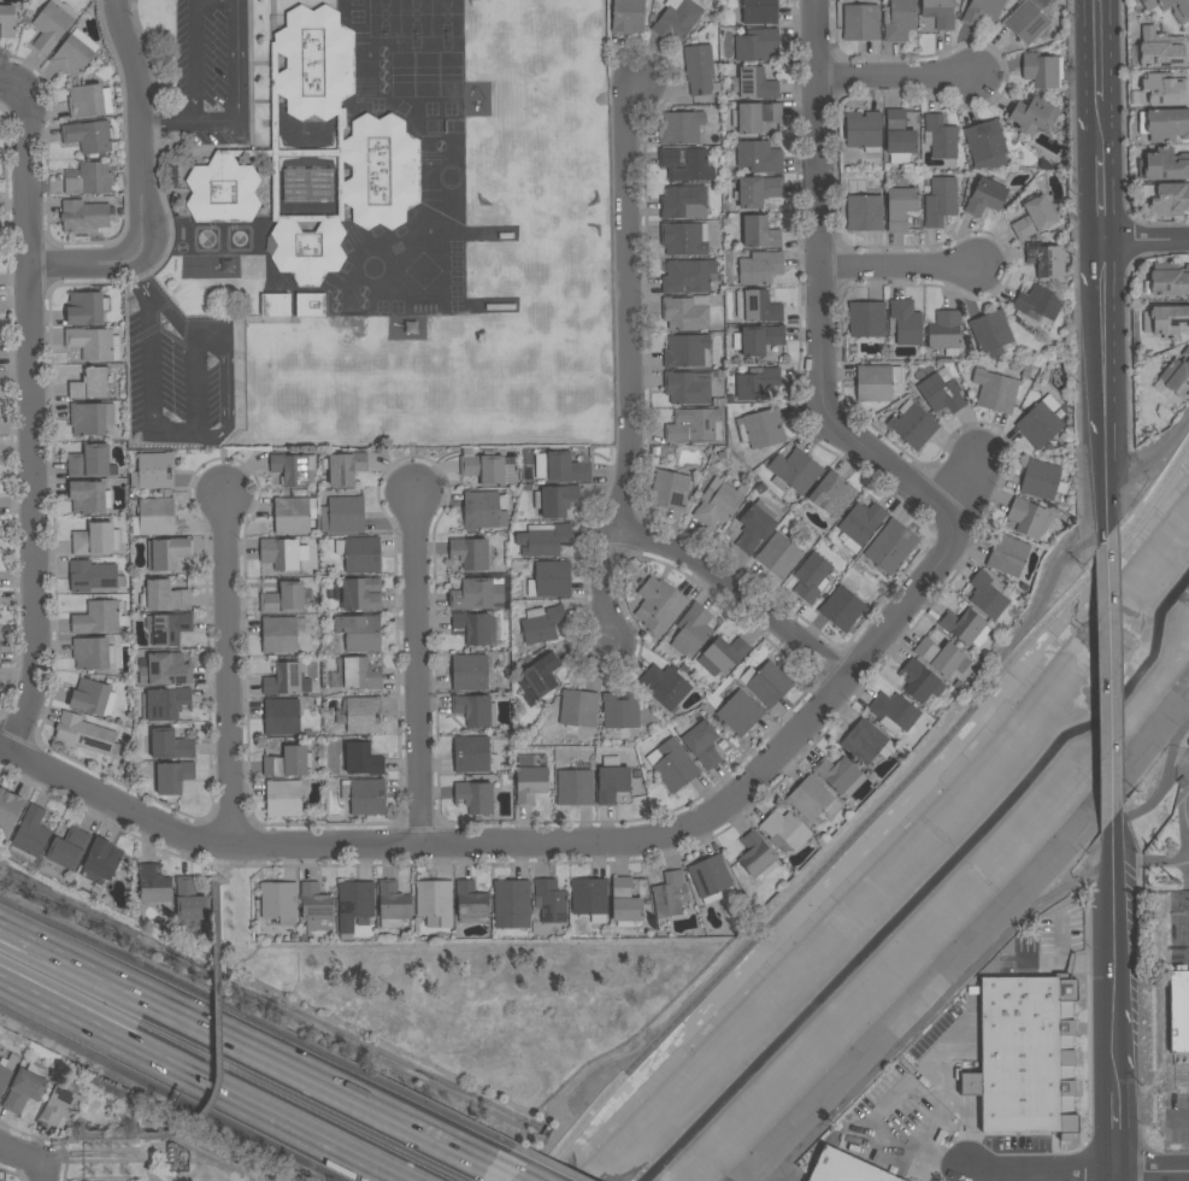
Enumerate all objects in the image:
building: (759, 11)
building: (982, 11)
building: (938, 12)
building: (1181, 16)
building: (626, 17)
building: (676, 20)
building: (899, 20)
building: (7, 22)
building: (860, 22)
building: (1026, 22)
building: (52, 24)
building: (757, 45)
road: (1096, 49)
building: (1160, 49)
building: (71, 57)
road: (194, 59)
building: (699, 69)
building: (1042, 70)
road: (894, 80)
building: (753, 84)
road: (11, 86)
building: (1160, 89)
building: (89, 101)
road: (236, 106)
road: (140, 110)
building: (1034, 116)
building: (755, 117)
building: (1164, 123)
building: (681, 128)
road: (1099, 128)
building: (864, 131)
building: (88, 136)
building: (899, 137)
building: (940, 137)
building: (985, 142)
building: (316, 153)
building: (759, 155)
building: (685, 165)
building: (1165, 165)
building: (90, 180)
building: (307, 184)
building: (757, 190)
building: (985, 198)
building: (1167, 198)
building: (682, 201)
building: (940, 201)
road: (1101, 201)
building: (899, 205)
building: (865, 213)
building: (84, 216)
building: (1034, 218)
building: (758, 233)
building: (684, 239)
road: (1146, 243)
building: (1044, 259)
road: (101, 268)
building: (759, 268)
road: (897, 271)
building: (688, 276)
road: (139, 278)
building: (1169, 278)
road: (820, 295)
building: (1037, 304)
building: (275, 305)
building: (311, 305)
building: (485, 305)
building: (758, 306)
building: (87, 307)
building: (685, 313)
building: (866, 319)
building: (1166, 321)
building: (906, 322)
building: (944, 333)
building: (990, 333)
building: (758, 340)
building: (93, 343)
building: (687, 351)
road: (629, 363)
building: (1025, 372)
building: (1177, 375)
building: (90, 383)
building: (757, 383)
building: (876, 383)
road: (225, 386)
building: (688, 387)
building: (941, 392)
building: (994, 392)
road: (1103, 401)
building: (90, 418)
road: (31, 422)
building: (1041, 423)
building: (694, 425)
building: (912, 425)
building: (760, 429)
road: (182, 430)
road: (1150, 457)
building: (90, 463)
building: (345, 468)
building: (483, 468)
building: (560, 468)
building: (294, 469)
building: (153, 471)
building: (794, 471)
building: (1040, 480)
building: (670, 490)
building: (832, 494)
building: (89, 498)
building: (555, 500)
building: (719, 504)
building: (481, 511)
building: (343, 515)
building: (290, 516)
building: (154, 517)
building: (1026, 517)
building: (860, 524)
building: (755, 527)
building: (96, 540)
building: (543, 540)
building: (890, 547)
building: (169, 553)
building: (283, 553)
building: (471, 553)
building: (363, 556)
building: (778, 556)
building: (1008, 556)
building: (93, 576)
building: (811, 577)
building: (549, 580)
building: (479, 592)
building: (361, 594)
building: (164, 597)
road: (737, 597)
building: (987, 597)
building: (283, 599)
building: (659, 606)
building: (841, 609)
road: (1034, 610)
building: (98, 618)
building: (542, 624)
building: (167, 628)
building: (475, 628)
building: (693, 628)
building: (965, 628)
building: (359, 633)
building: (281, 634)
building: (93, 653)
building: (723, 656)
building: (941, 657)
road: (418, 668)
building: (163, 670)
road: (225, 670)
building: (469, 672)
building: (359, 674)
building: (537, 678)
building: (287, 680)
building: (919, 682)
building: (767, 683)
building: (665, 686)
road: (1107, 689)
building: (93, 698)
building: (169, 703)
building: (578, 709)
building: (475, 710)
building: (740, 712)
building: (893, 712)
building: (620, 713)
building: (360, 715)
building: (282, 717)
building: (82, 734)
building: (699, 741)
building: (866, 742)
building: (169, 745)
building: (471, 754)
building: (359, 760)
building: (289, 762)
building: (675, 765)
building: (840, 775)
building: (173, 777)
building: (530, 778)
building: (611, 781)
building: (575, 786)
building: (365, 797)
building: (475, 797)
building: (283, 799)
building: (812, 799)
building: (8, 811)
road: (870, 816)
building: (784, 830)
building: (30, 836)
road: (576, 846)
building: (66, 851)
building: (755, 854)
building: (101, 862)
building: (710, 876)
building: (154, 886)
building: (670, 894)
building: (589, 897)
building: (551, 901)
building: (190, 903)
building: (279, 903)
building: (435, 903)
building: (471, 903)
building: (393, 904)
building: (511, 904)
building: (624, 904)
road: (217, 905)
building: (354, 905)
building: (316, 907)
road: (1112, 957)
road: (988, 959)
park: (471, 994)
building: (1178, 1011)
road: (248, 1044)
building: (1024, 1056)
road: (222, 1062)
building: (6, 1070)
road: (207, 1079)
building: (24, 1088)
road: (953, 1093)
building: (61, 1103)
road: (1179, 1120)
road: (1114, 1132)
road: (30, 1135)
road: (119, 1138)
road: (918, 1150)
park: (139, 1152)
road: (23, 1157)
road: (52, 1159)
road: (102, 1162)
building: (843, 1168)
road: (66, 1171)
road: (1081, 1171)
road: (12, 1173)
road: (512, 1173)
road: (46, 1175)
road: (1114, 1176)

